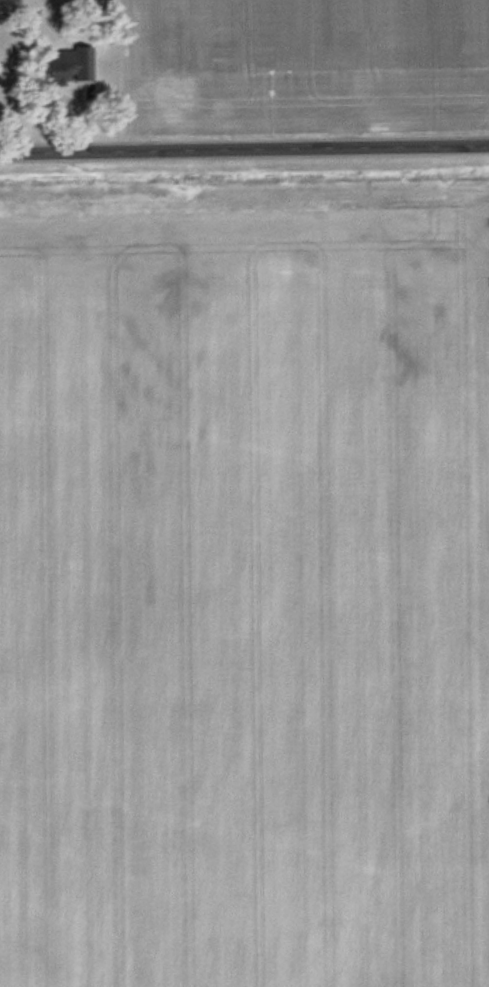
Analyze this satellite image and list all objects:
building: (70, 64)
road: (244, 153)

